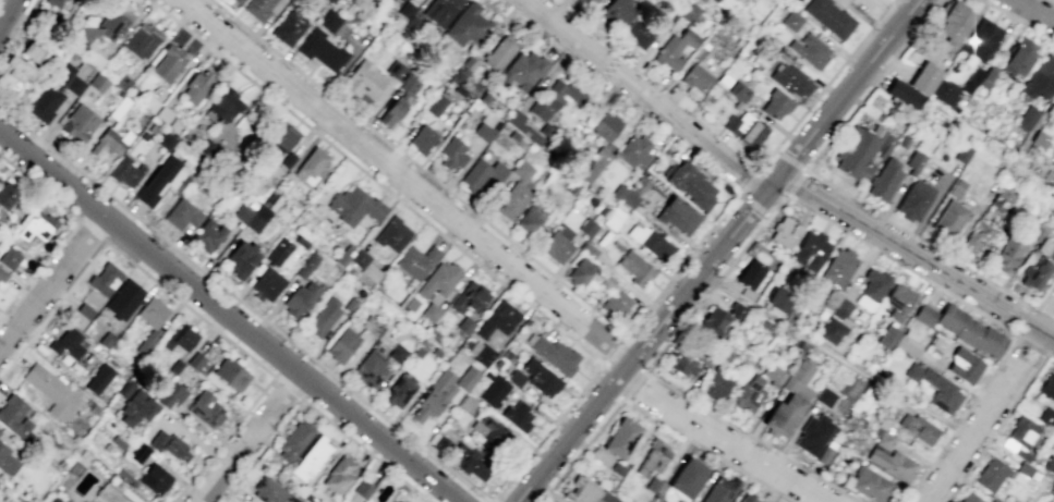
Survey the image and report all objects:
building: (715, 0)
building: (238, 1)
building: (329, 1)
building: (592, 1)
road: (1050, 1)
building: (56, 3)
road: (195, 3)
building: (258, 9)
road: (1034, 10)
building: (440, 11)
building: (618, 11)
road: (885, 11)
road: (885, 12)
road: (8, 13)
road: (856, 13)
building: (687, 15)
building: (829, 16)
building: (408, 17)
road: (1017, 19)
building: (791, 20)
building: (329, 21)
building: (953, 22)
building: (108, 23)
building: (467, 25)
building: (288, 27)
building: (639, 33)
building: (981, 39)
building: (141, 41)
building: (675, 48)
building: (809, 49)
building: (32, 50)
building: (322, 50)
building: (499, 52)
building: (1018, 59)
building: (169, 63)
building: (395, 70)
building: (523, 70)
building: (14, 74)
building: (923, 78)
building: (1041, 78)
building: (790, 79)
building: (694, 81)
building: (98, 82)
building: (363, 82)
building: (408, 84)
building: (197, 86)
building: (738, 90)
building: (56, 91)
building: (901, 93)
building: (945, 93)
road: (815, 95)
road: (646, 98)
building: (553, 99)
building: (435, 105)
building: (775, 105)
building: (222, 106)
building: (390, 112)
building: (1027, 118)
building: (80, 123)
building: (486, 127)
building: (522, 127)
building: (607, 128)
building: (744, 128)
building: (421, 138)
building: (280, 140)
building: (108, 143)
road: (776, 150)
building: (634, 151)
building: (452, 152)
building: (962, 154)
road: (792, 160)
building: (311, 164)
building: (595, 164)
road: (417, 167)
building: (522, 170)
building: (125, 172)
building: (481, 174)
building: (884, 179)
road: (748, 181)
road: (796, 181)
building: (1051, 181)
building: (690, 184)
road: (39, 187)
road: (843, 192)
building: (5, 195)
building: (625, 195)
road: (784, 196)
building: (914, 199)
building: (512, 201)
road: (752, 204)
building: (353, 206)
building: (181, 213)
building: (677, 216)
building: (253, 217)
building: (531, 218)
building: (614, 218)
building: (949, 219)
building: (37, 226)
building: (586, 226)
building: (1053, 229)
road: (93, 230)
building: (785, 232)
building: (392, 234)
building: (208, 235)
road: (445, 236)
building: (976, 237)
building: (649, 241)
building: (557, 243)
building: (1045, 248)
road: (717, 249)
building: (277, 250)
building: (810, 250)
road: (916, 252)
building: (1007, 253)
building: (10, 257)
building: (241, 258)
building: (416, 260)
road: (502, 260)
road: (680, 264)
building: (363, 265)
building: (838, 267)
building: (634, 268)
building: (303, 269)
building: (580, 271)
building: (1034, 273)
building: (2, 274)
building: (104, 279)
building: (750, 279)
building: (438, 280)
road: (51, 281)
building: (266, 283)
building: (871, 289)
road: (15, 293)
building: (469, 297)
building: (123, 299)
building: (299, 299)
building: (779, 299)
building: (898, 301)
building: (616, 303)
road: (244, 304)
road: (52, 308)
road: (189, 308)
building: (840, 308)
building: (429, 311)
building: (924, 315)
road: (228, 316)
building: (323, 317)
building: (150, 319)
building: (497, 319)
building: (719, 319)
building: (831, 331)
building: (970, 331)
road: (1019, 332)
building: (180, 338)
building: (898, 339)
building: (66, 343)
building: (342, 345)
road: (614, 350)
building: (478, 352)
building: (397, 353)
building: (554, 354)
road: (835, 356)
building: (197, 362)
building: (682, 365)
building: (964, 365)
building: (369, 370)
building: (230, 374)
building: (540, 377)
building: (465, 378)
building: (98, 379)
building: (798, 379)
road: (633, 385)
building: (715, 385)
building: (1047, 387)
road: (287, 388)
building: (935, 388)
building: (399, 390)
building: (51, 391)
building: (494, 391)
building: (170, 393)
building: (748, 394)
building: (434, 395)
building: (824, 396)
building: (205, 408)
road: (992, 408)
building: (136, 409)
building: (14, 415)
building: (518, 415)
building: (784, 415)
road: (652, 417)
road: (998, 424)
building: (917, 428)
building: (0, 430)
building: (490, 432)
building: (813, 434)
road: (250, 438)
building: (621, 438)
building: (1019, 438)
road: (222, 439)
building: (293, 440)
building: (884, 440)
building: (169, 445)
road: (261, 451)
road: (365, 451)
building: (653, 457)
building: (311, 458)
building: (5, 460)
building: (470, 462)
building: (891, 463)
building: (1049, 466)
building: (618, 468)
building: (337, 475)
building: (991, 475)
building: (687, 477)
building: (155, 479)
building: (868, 483)
building: (652, 485)
building: (361, 489)
building: (720, 490)
building: (270, 491)
building: (587, 492)
building: (108, 494)
building: (746, 498)
building: (970, 498)
building: (50, 499)
building: (995, 500)

